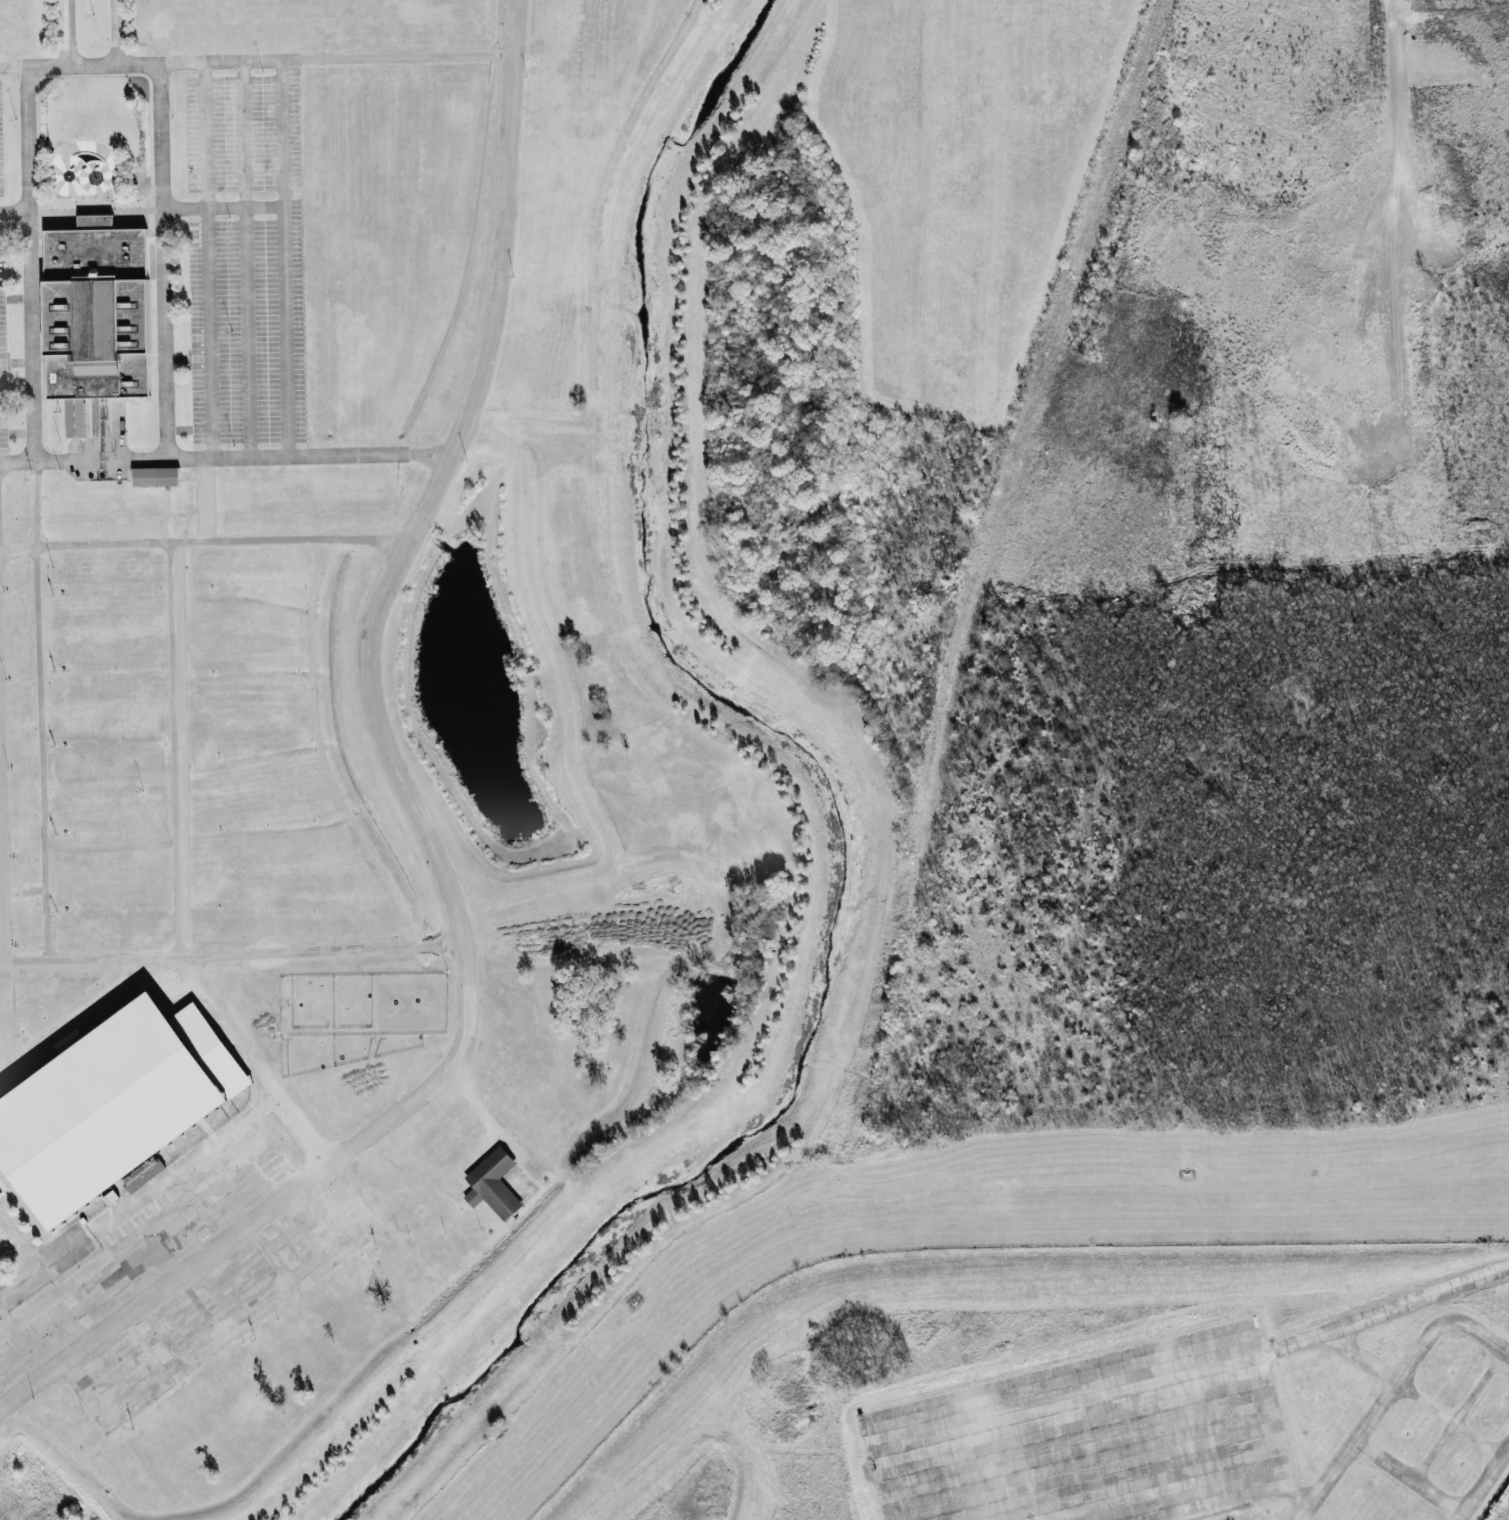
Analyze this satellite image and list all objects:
road: (114, 30)
road: (66, 31)
road: (256, 62)
road: (222, 205)
road: (14, 210)
parking lot: (249, 236)
road: (286, 257)
road: (159, 259)
road: (208, 259)
road: (244, 259)
road: (30, 262)
building: (93, 300)
parking lot: (1, 347)
road: (306, 453)
road: (82, 459)
building: (155, 476)
road: (425, 501)
road: (289, 537)
road: (86, 548)
road: (39, 711)
road: (175, 750)
road: (231, 952)
road: (77, 1012)
road: (7, 1033)
road: (257, 1060)
road: (431, 1093)
building: (113, 1106)
building: (492, 1184)
road: (196, 1191)
road: (178, 1234)
road: (33, 1261)
road: (165, 1287)
road: (1370, 1451)

